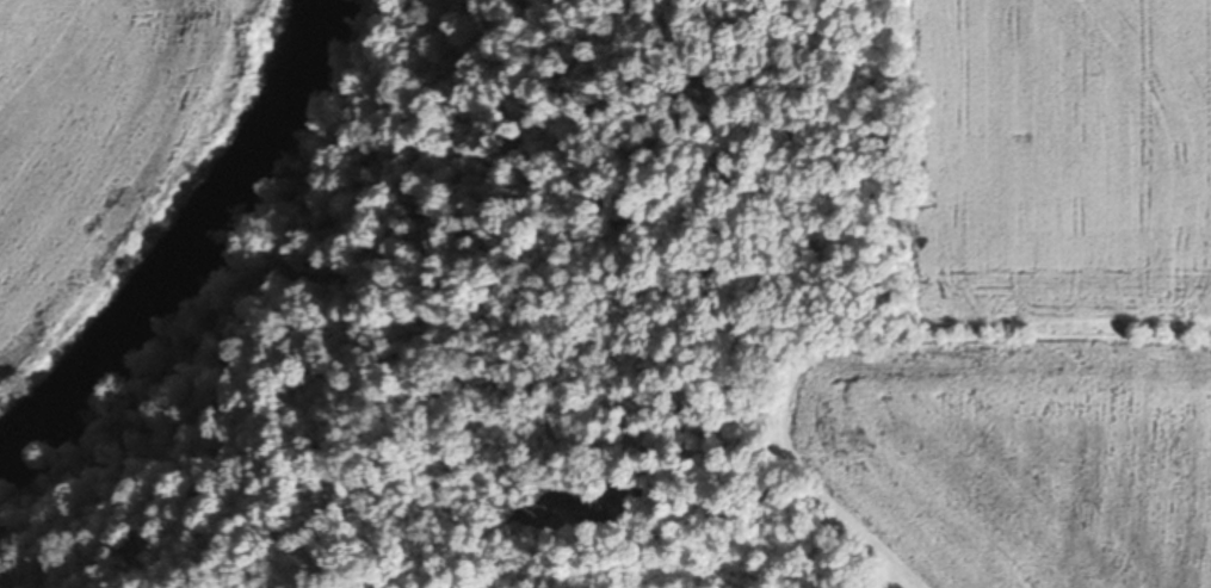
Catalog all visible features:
river: (179, 249)

